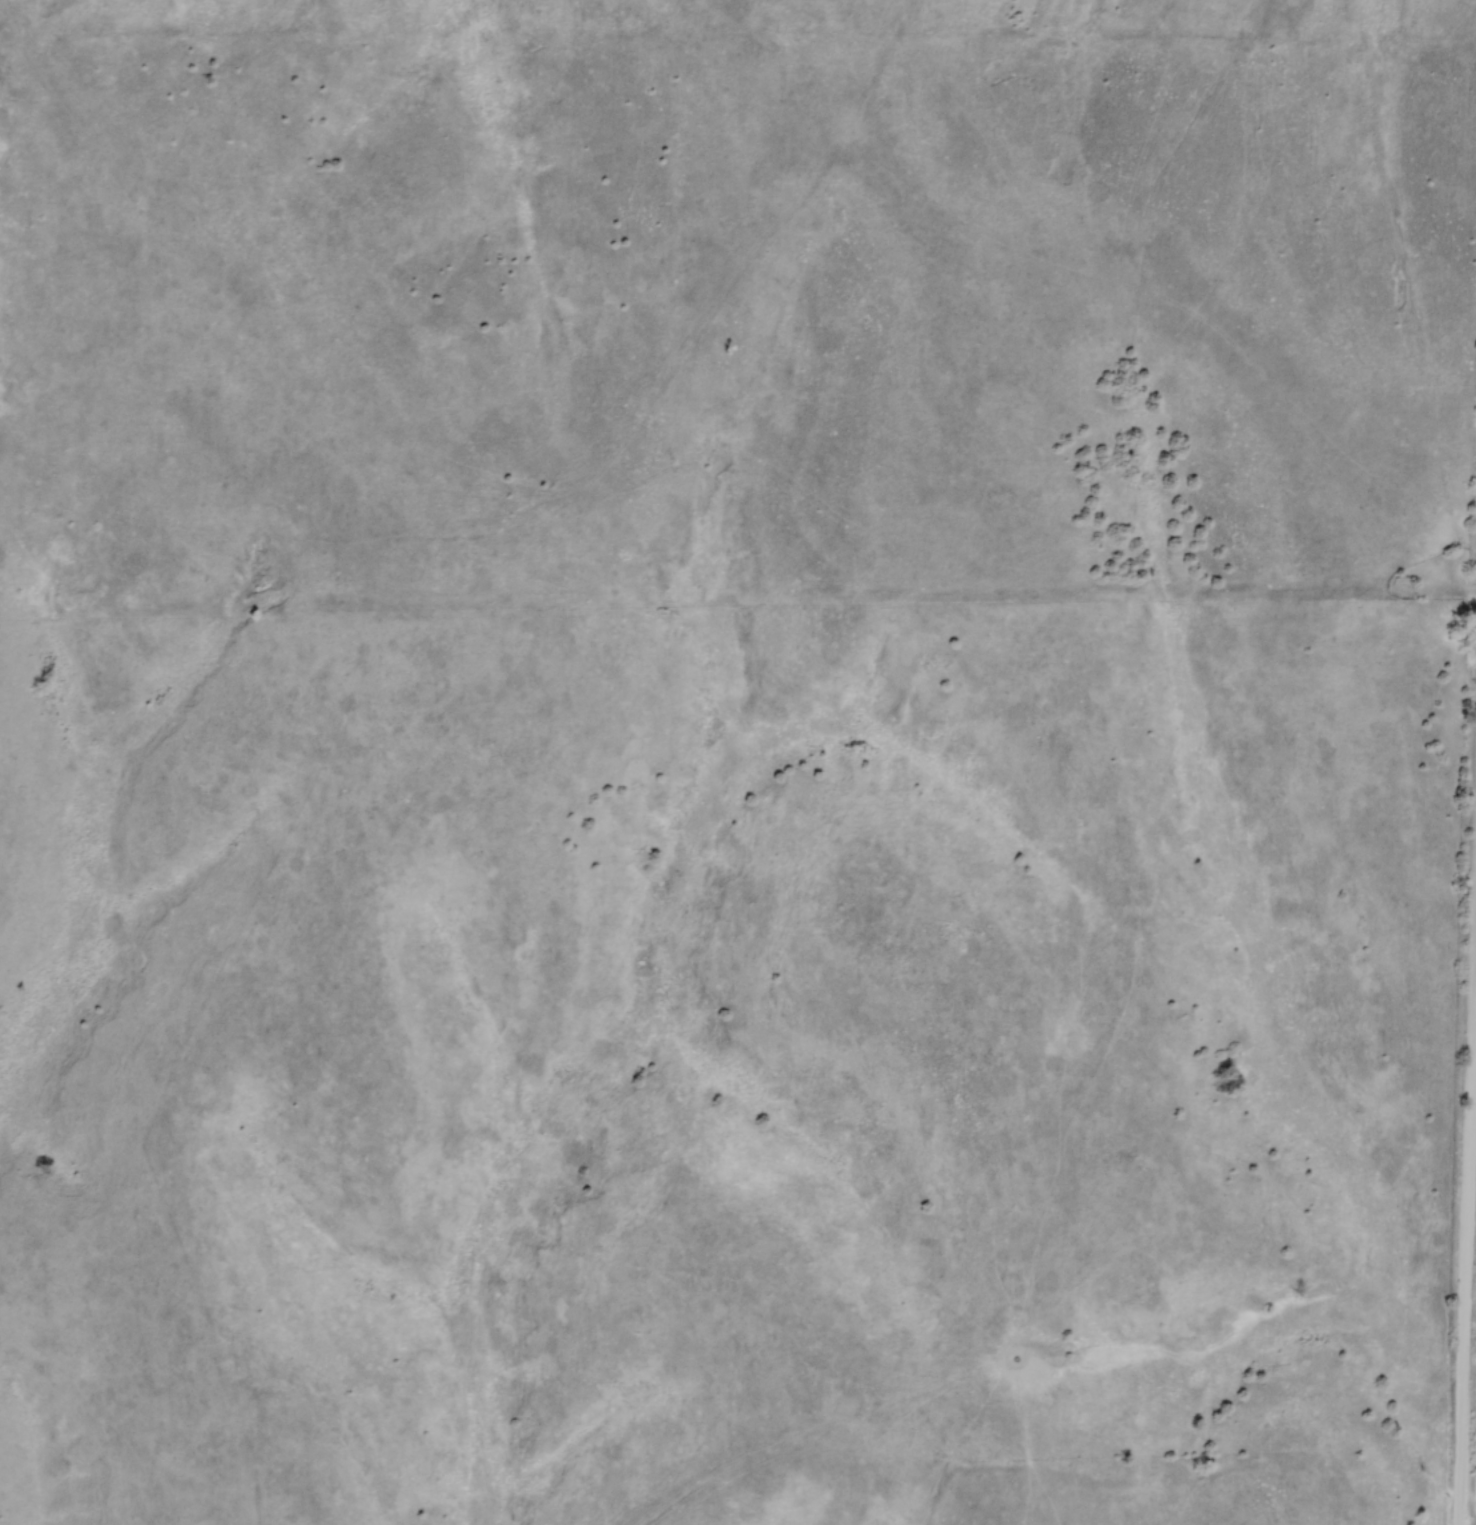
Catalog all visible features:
road: (1469, 1309)

